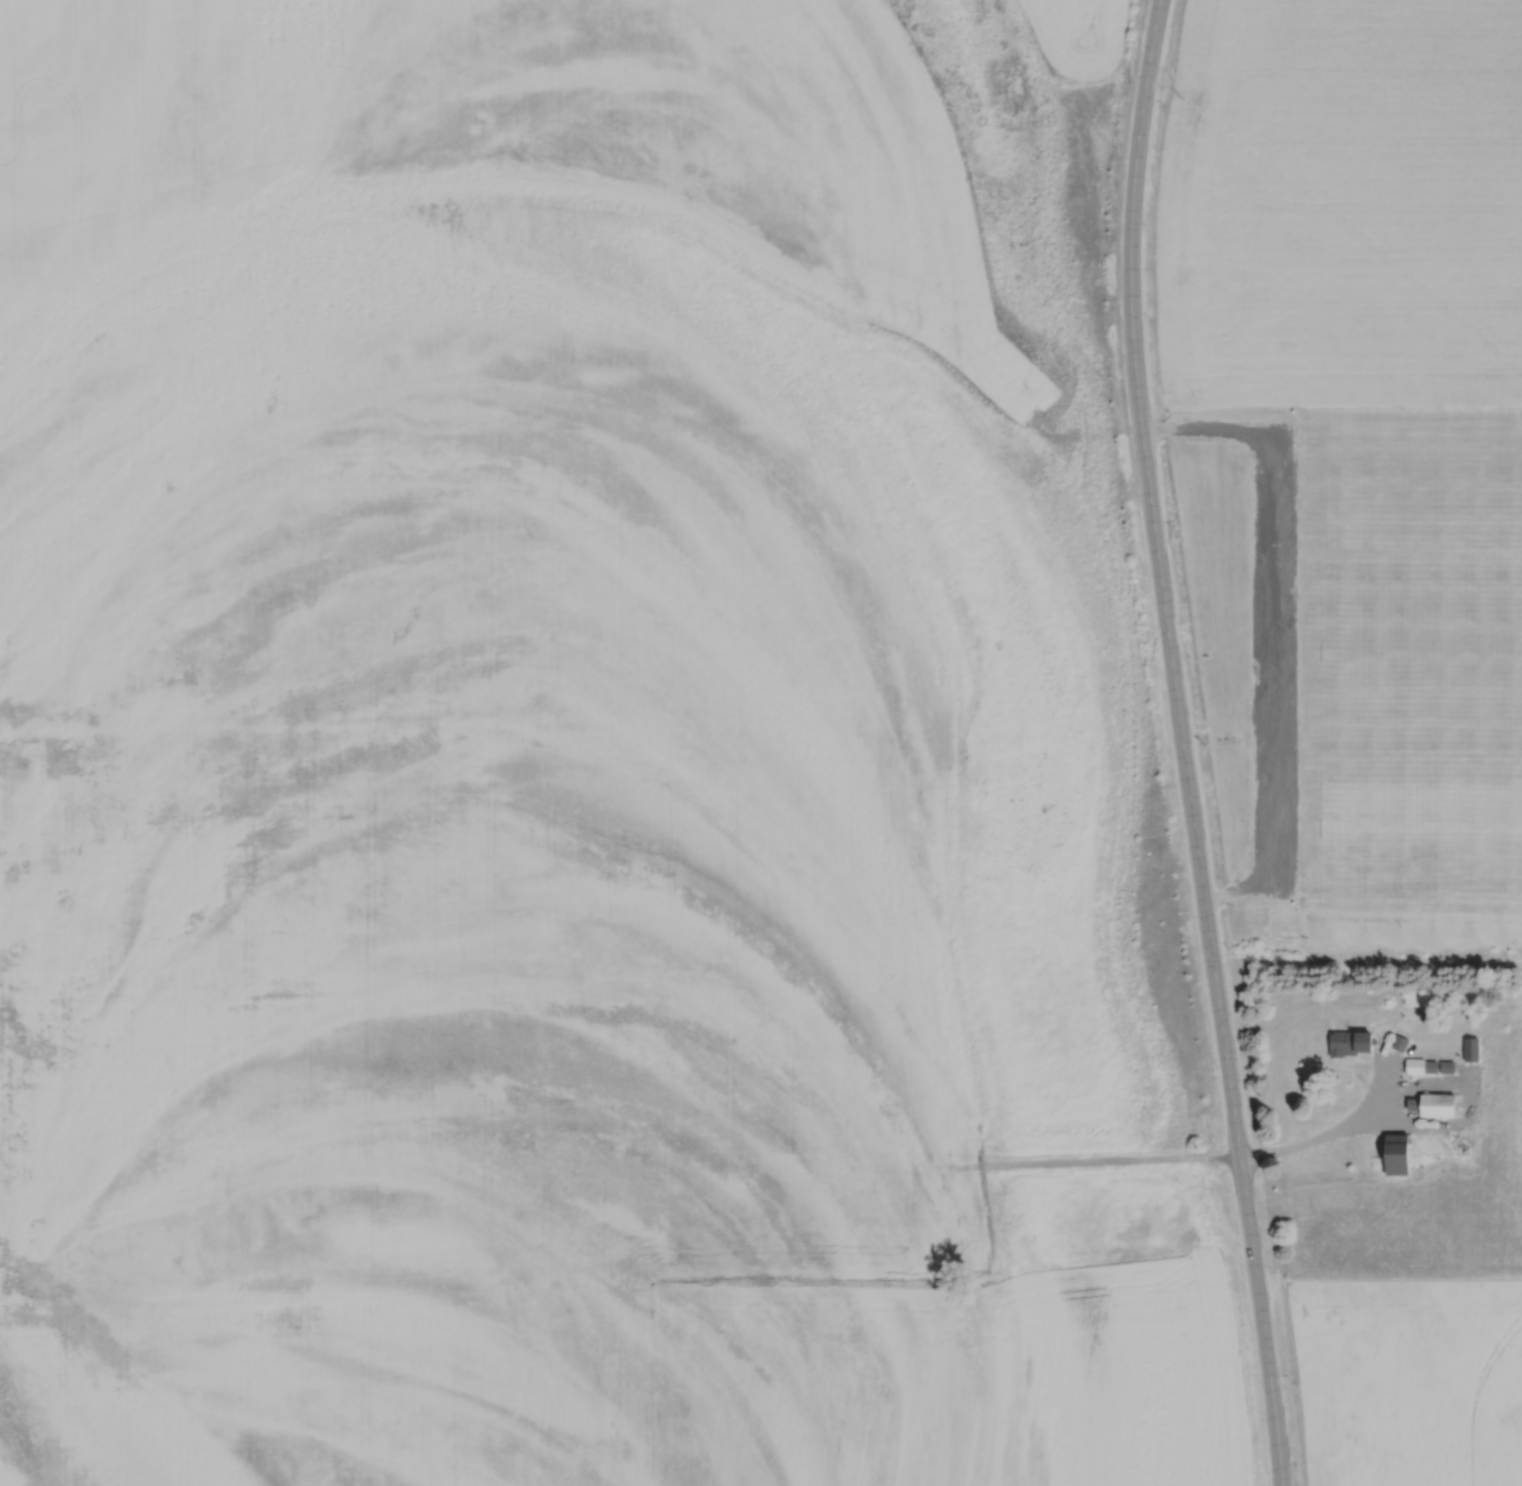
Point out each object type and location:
road: (1277, 621)
road: (1181, 744)
building: (1413, 998)
building: (1386, 999)
building: (1349, 1041)
building: (1399, 1042)
building: (1470, 1048)
building: (1414, 1065)
building: (1430, 1065)
building: (1447, 1066)
building: (1413, 1102)
building: (1436, 1103)
road: (1436, 1125)
building: (1396, 1153)

